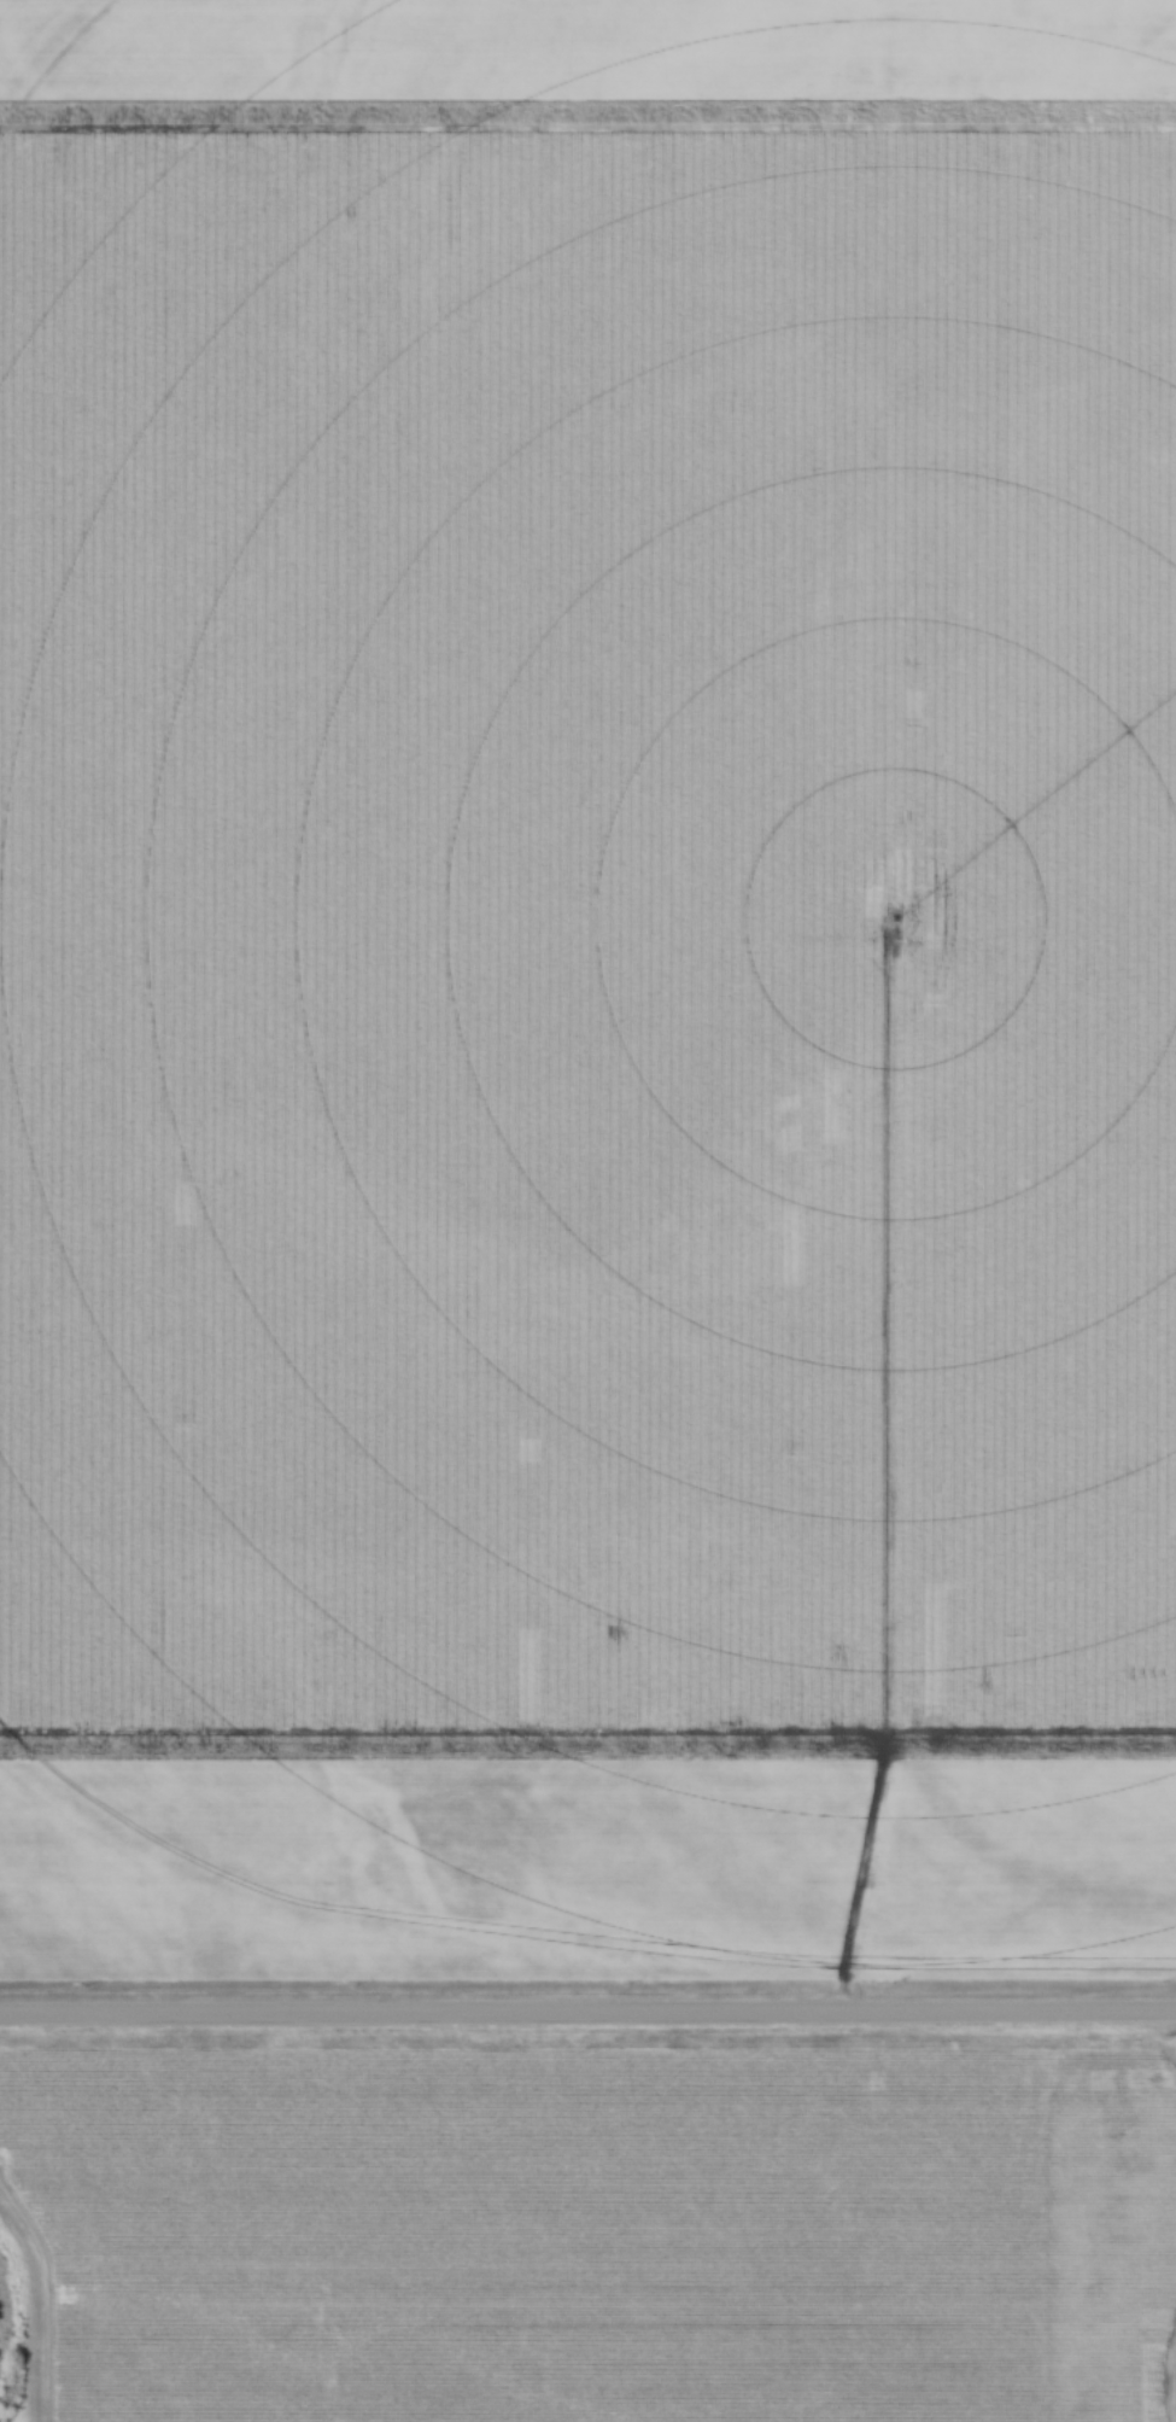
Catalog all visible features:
road: (587, 2019)

